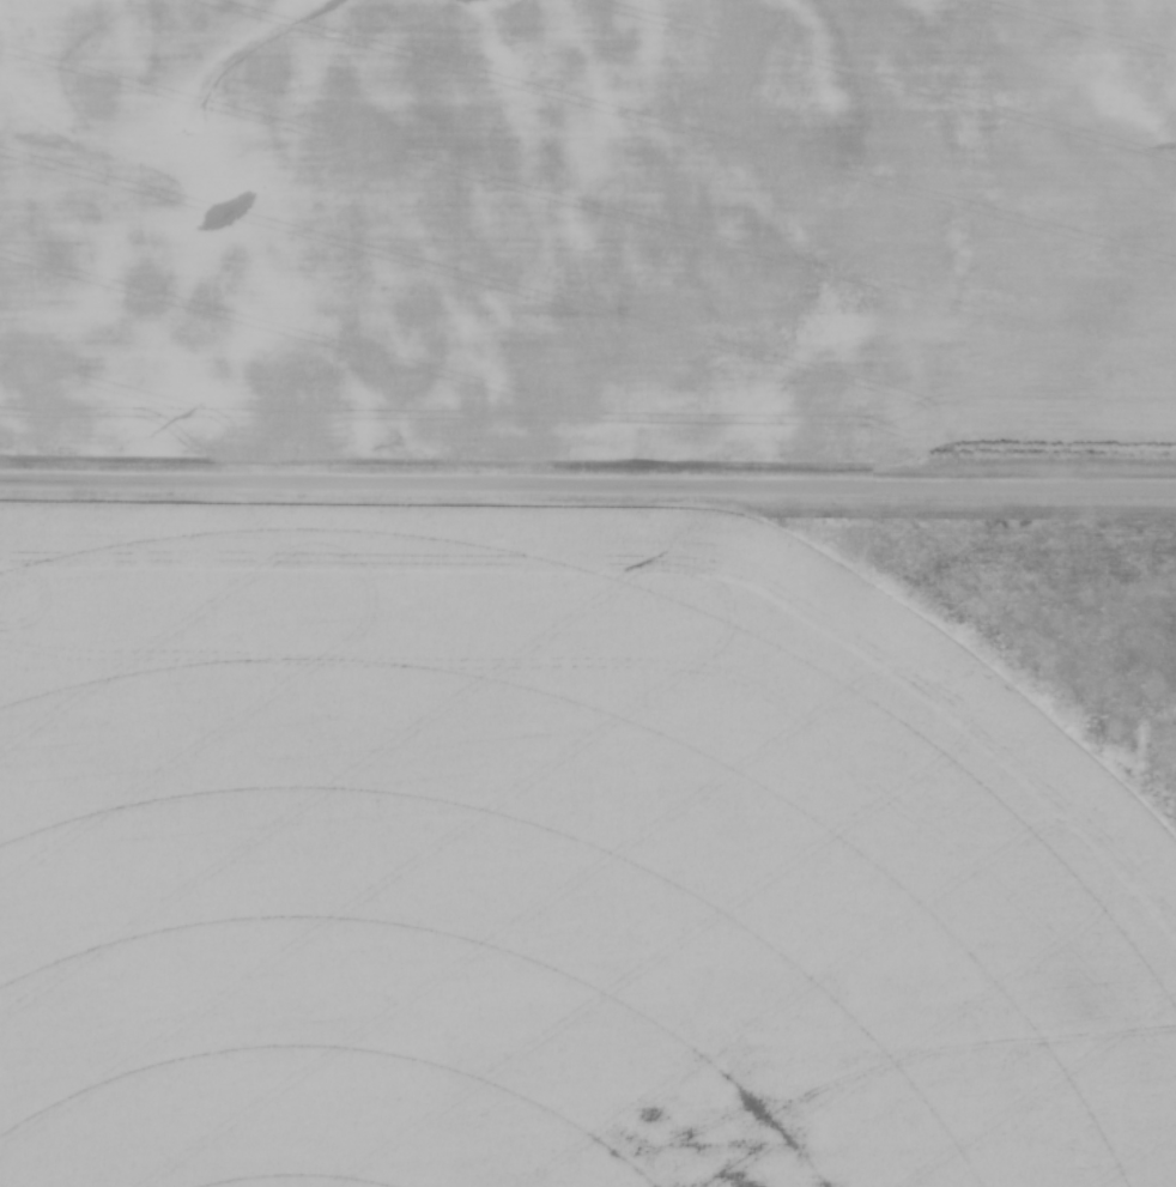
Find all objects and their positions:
road: (588, 497)

